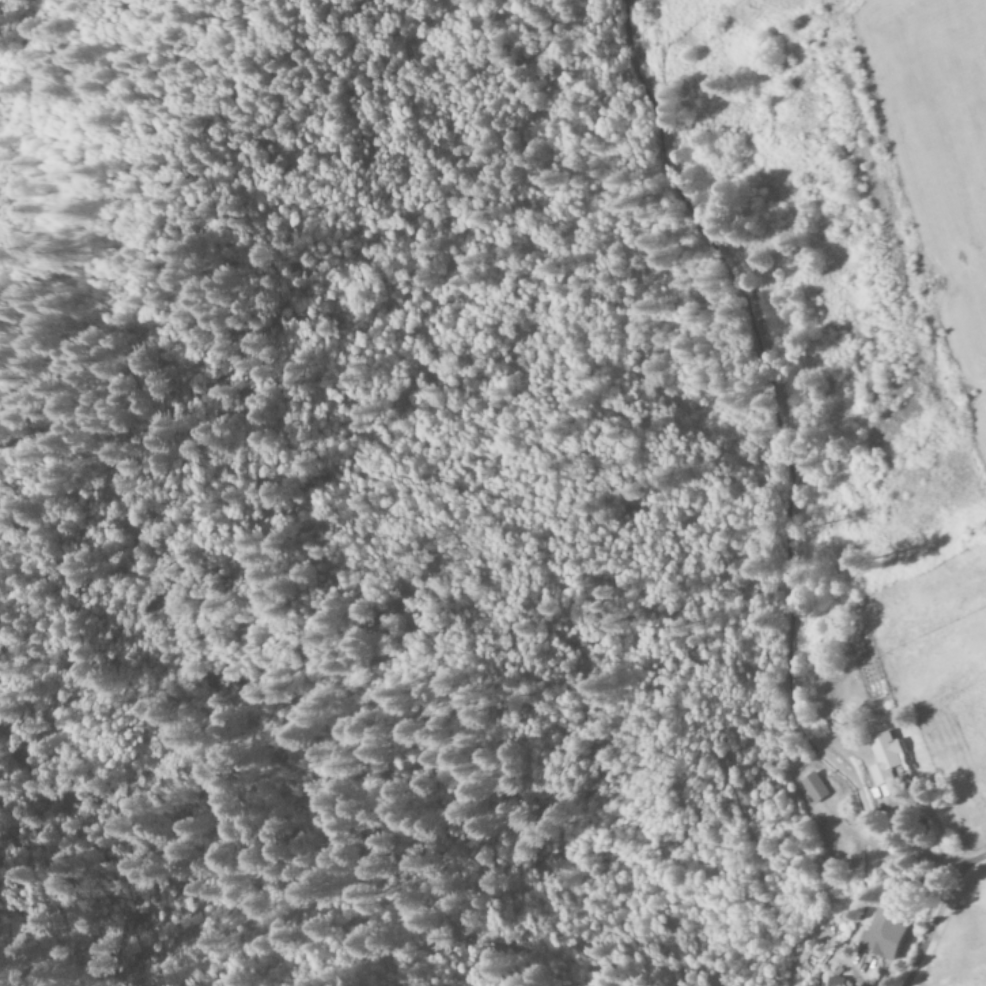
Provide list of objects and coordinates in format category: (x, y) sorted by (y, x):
building: (885, 758)
building: (814, 789)
building: (886, 935)

